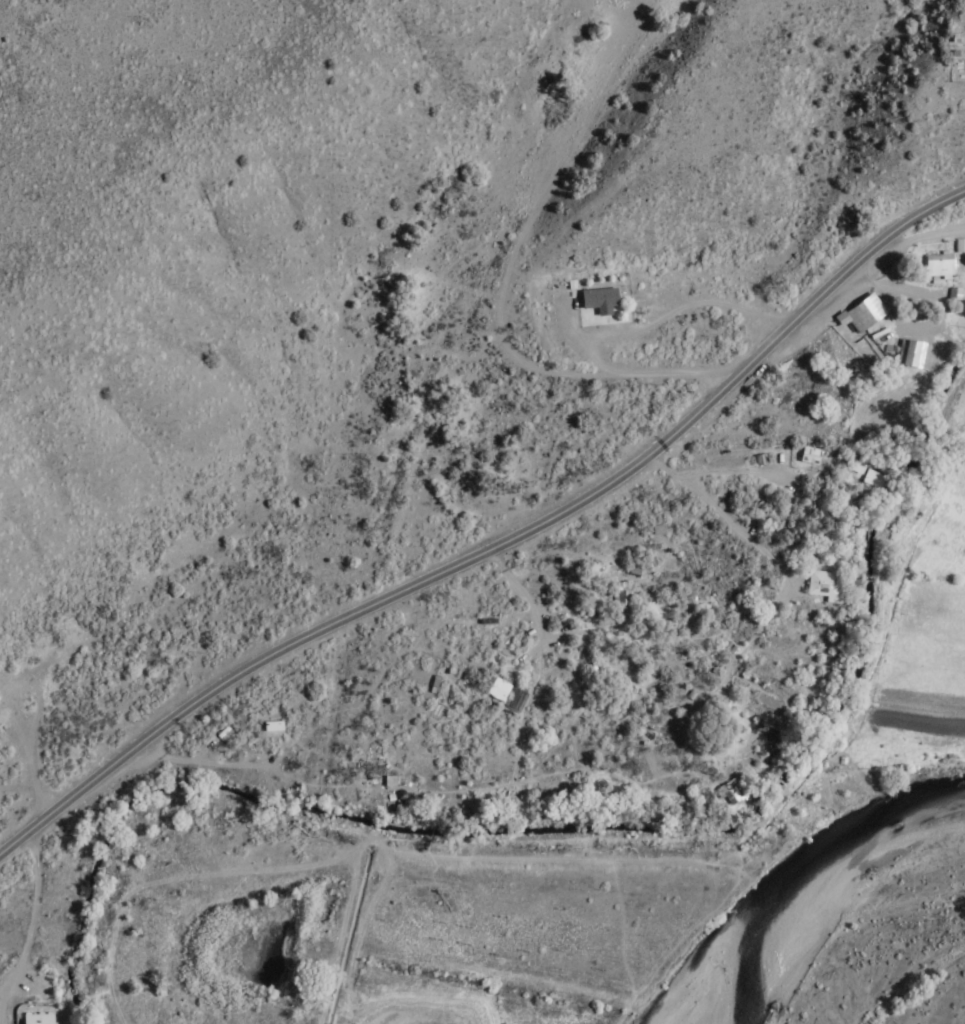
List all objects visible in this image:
building: (961, 249)
road: (918, 253)
building: (938, 268)
building: (599, 301)
building: (862, 315)
building: (910, 356)
building: (807, 458)
building: (871, 481)
road: (497, 547)
building: (821, 587)
building: (619, 596)
building: (495, 691)
building: (728, 797)
river: (947, 987)
building: (35, 1019)

